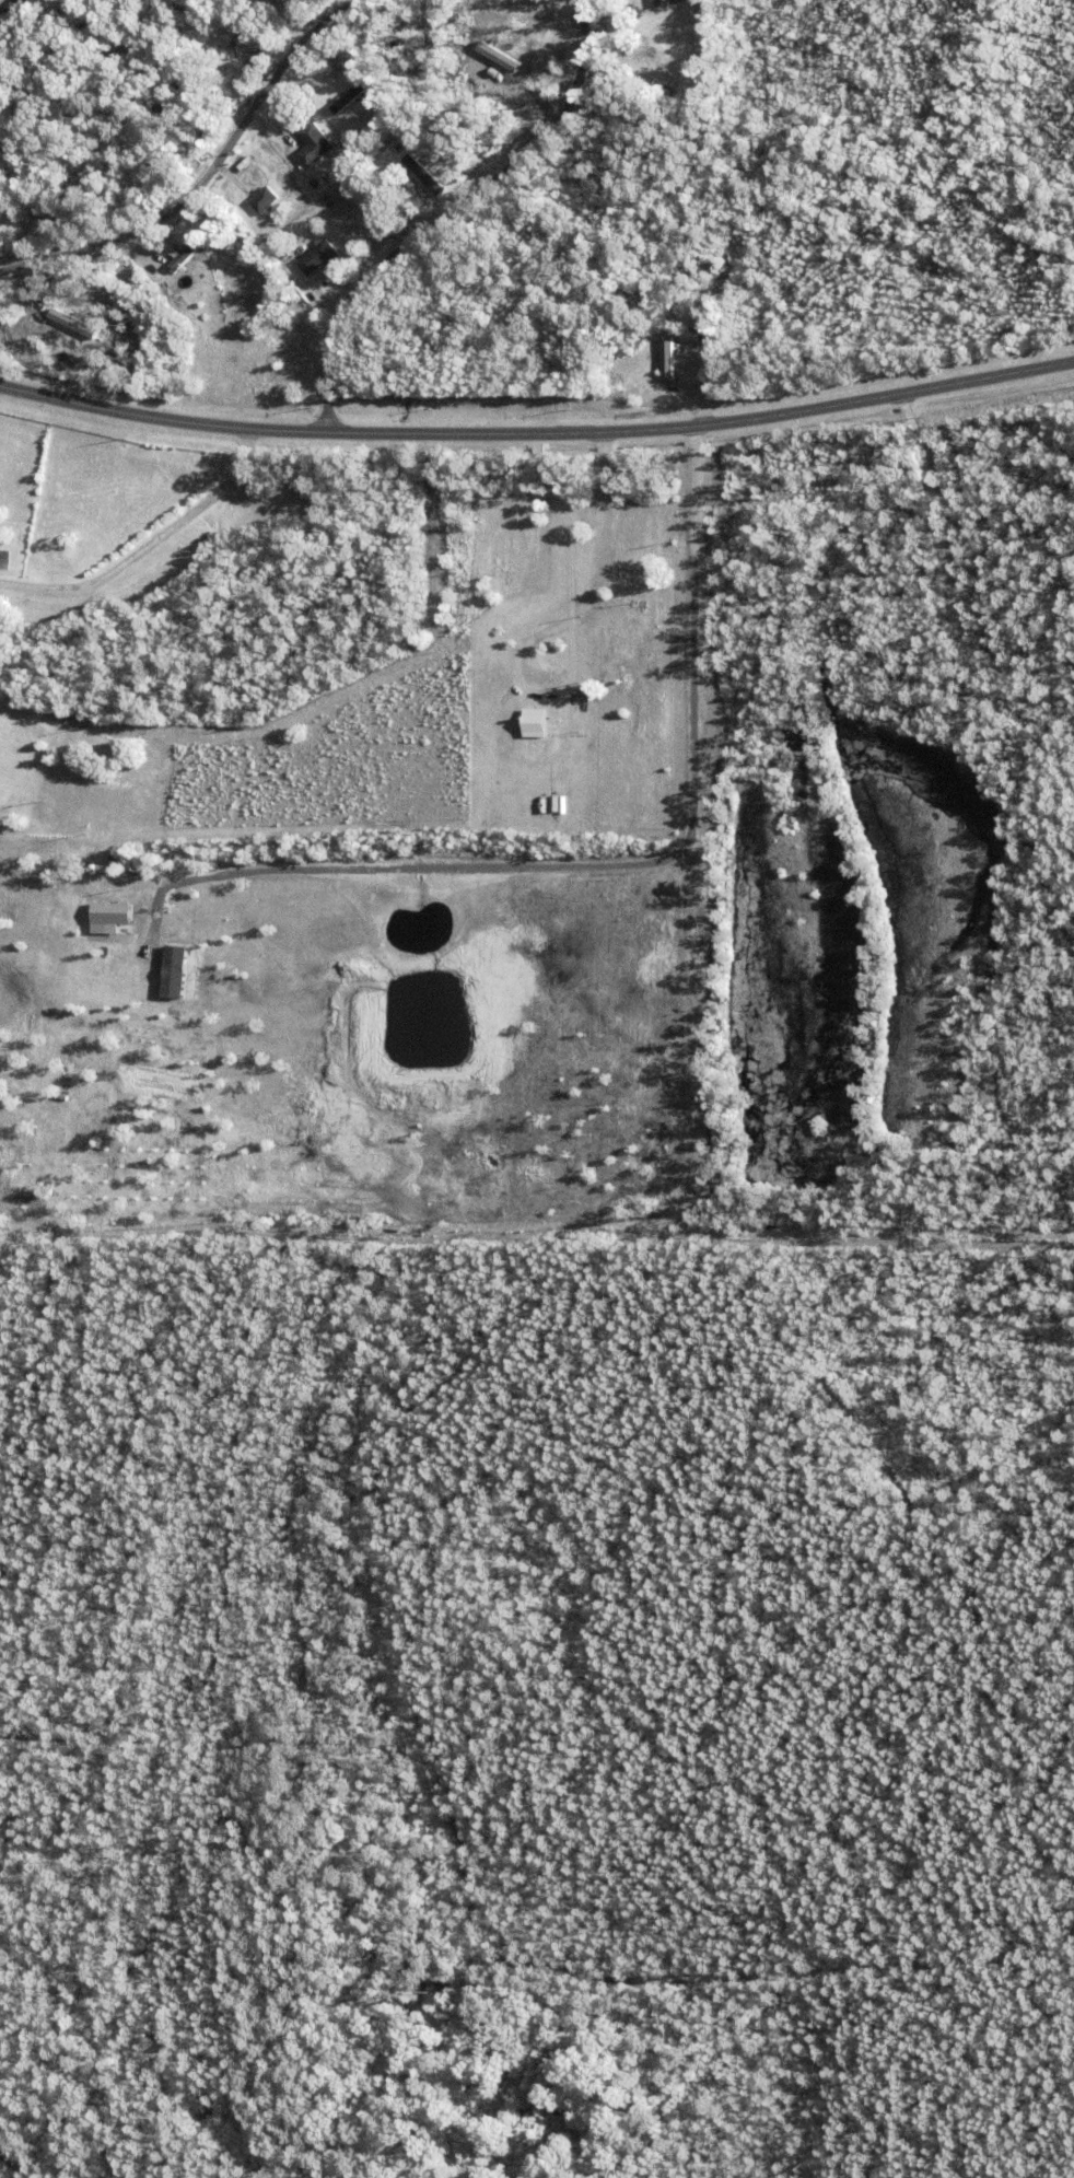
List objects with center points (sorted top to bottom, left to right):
building: (667, 3)
building: (261, 4)
building: (666, 18)
building: (94, 23)
building: (112, 25)
building: (224, 40)
building: (349, 93)
building: (667, 94)
building: (407, 136)
building: (314, 147)
building: (408, 153)
building: (241, 162)
building: (437, 170)
road: (205, 173)
building: (427, 176)
building: (265, 202)
building: (3, 208)
road: (453, 221)
building: (275, 246)
building: (374, 252)
building: (179, 255)
building: (186, 256)
building: (319, 259)
building: (191, 281)
building: (680, 323)
building: (616, 342)
building: (664, 358)
building: (618, 368)
building: (657, 370)
road: (537, 436)
road: (147, 545)
road: (602, 551)
building: (534, 723)
building: (172, 970)

